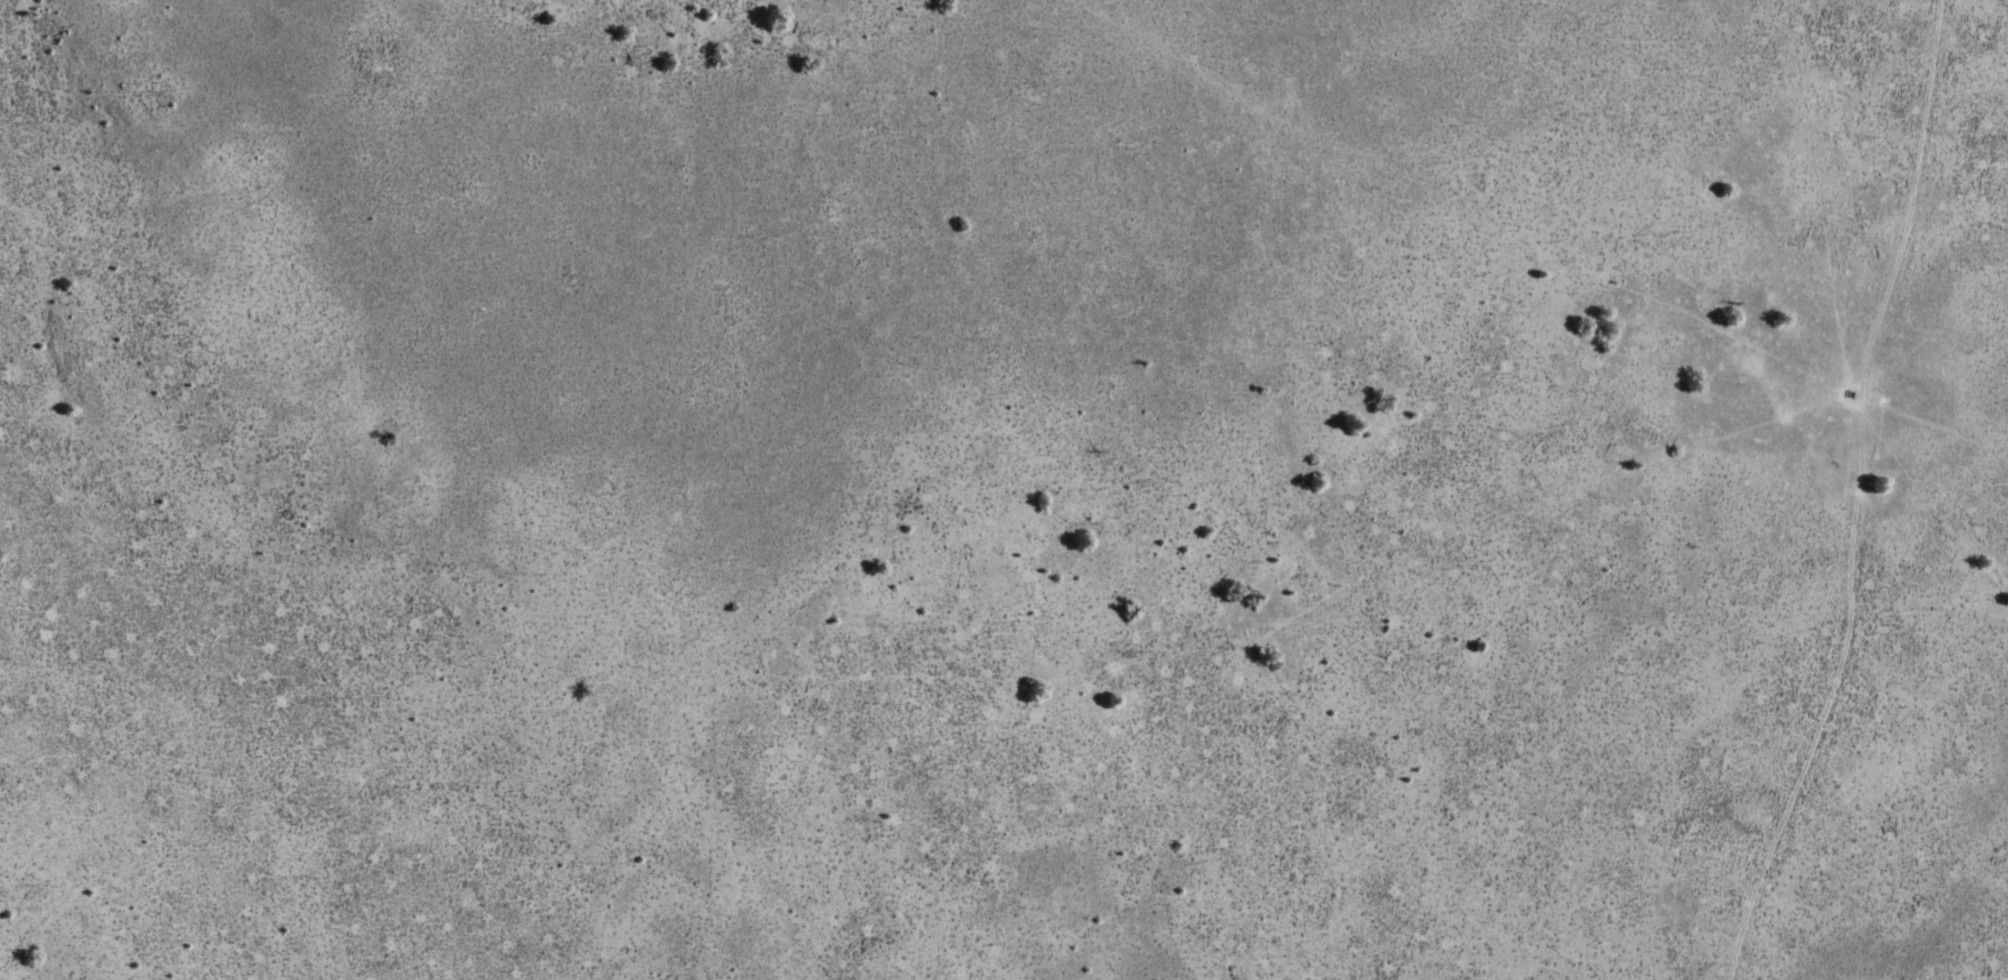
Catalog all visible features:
road: (1867, 496)

